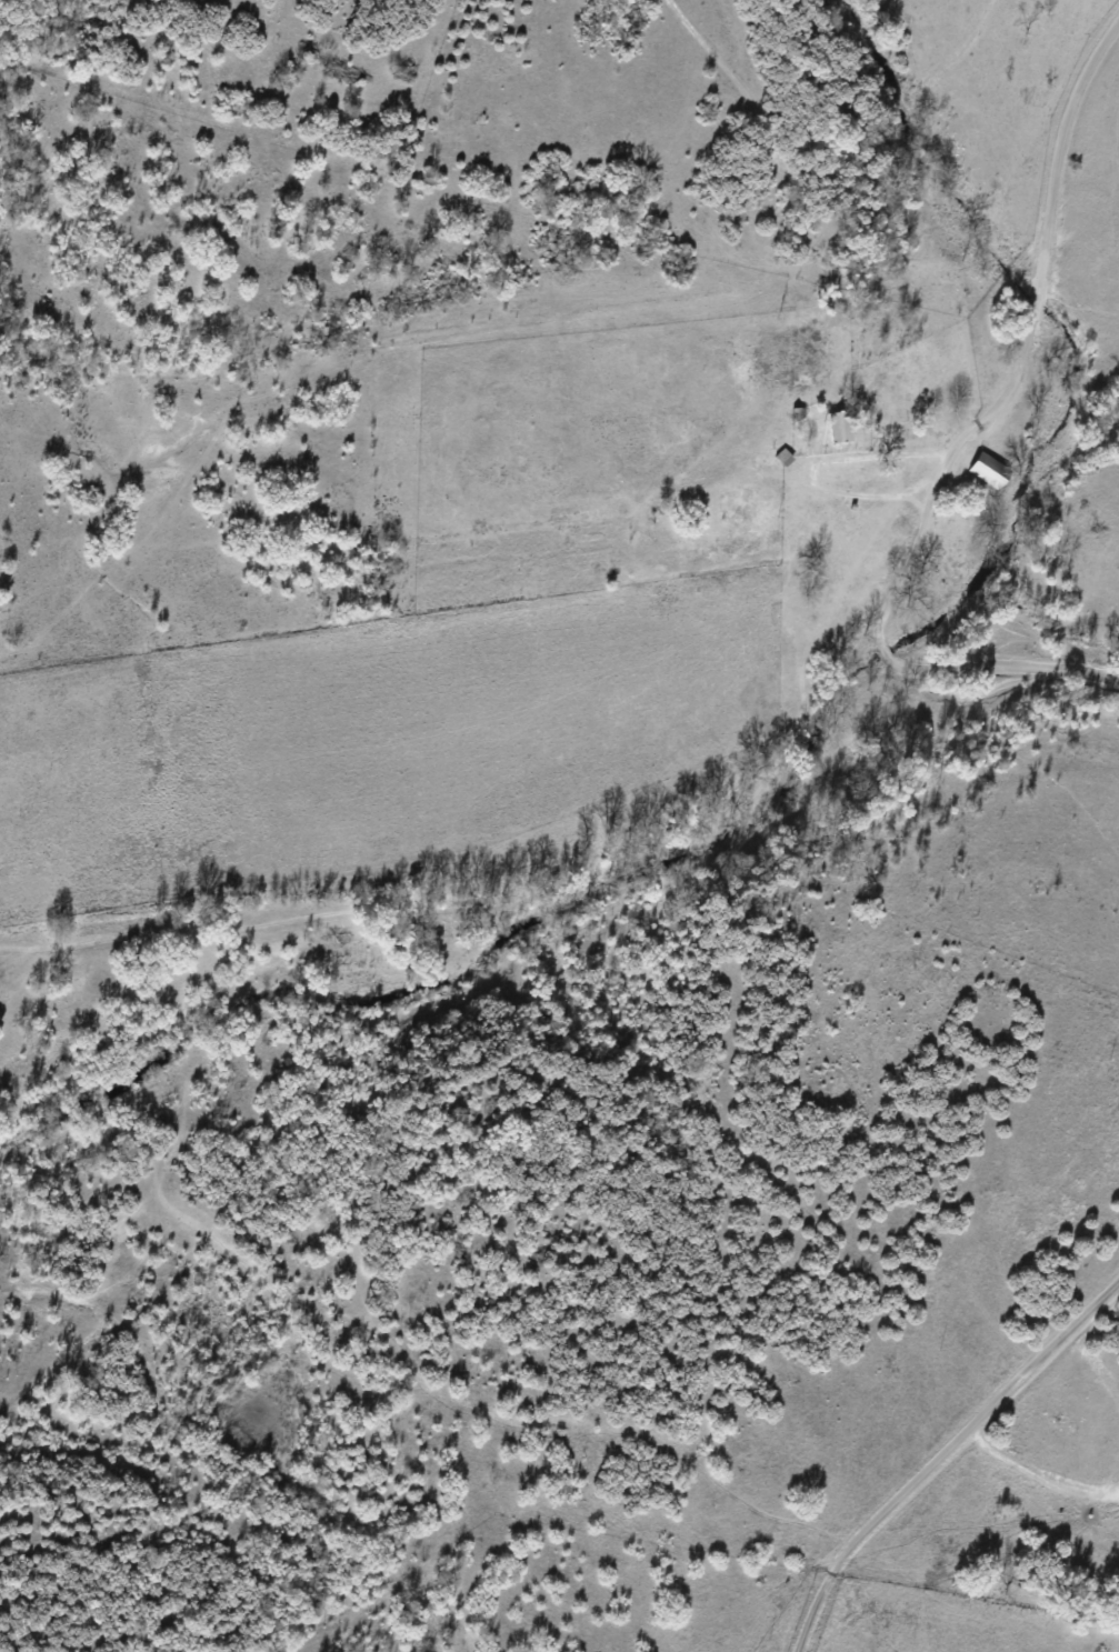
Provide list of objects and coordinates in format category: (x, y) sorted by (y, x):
building: (839, 427)
road: (968, 450)
building: (987, 470)
building: (737, 492)
road: (943, 1452)

